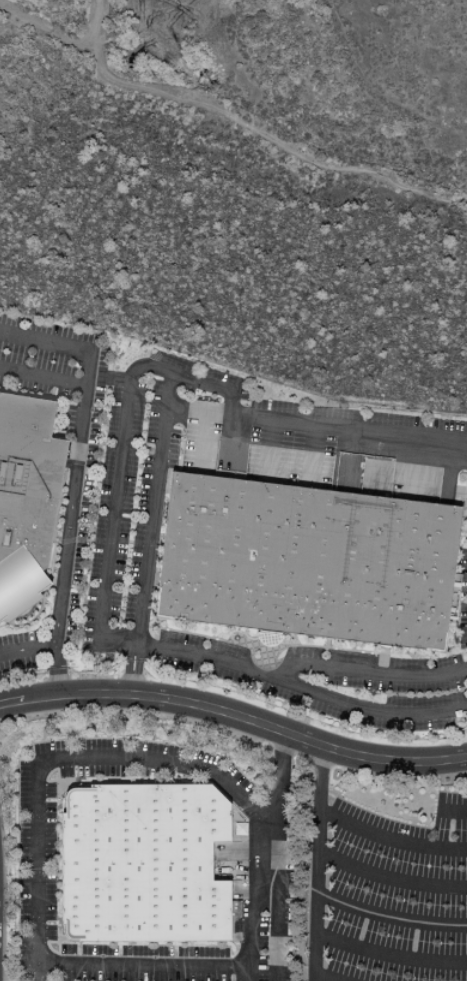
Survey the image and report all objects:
road: (59, 38)
road: (265, 136)
road: (40, 375)
road: (213, 412)
road: (278, 421)
road: (268, 447)
road: (315, 454)
road: (71, 480)
building: (28, 500)
road: (153, 510)
road: (107, 533)
building: (304, 563)
road: (27, 651)
road: (207, 658)
road: (279, 679)
road: (235, 716)
road: (51, 760)
road: (266, 806)
road: (452, 810)
building: (238, 828)
road: (392, 839)
road: (276, 856)
building: (139, 862)
road: (319, 863)
road: (392, 879)
road: (252, 895)
road: (391, 917)
road: (391, 952)
road: (151, 966)
road: (326, 977)

